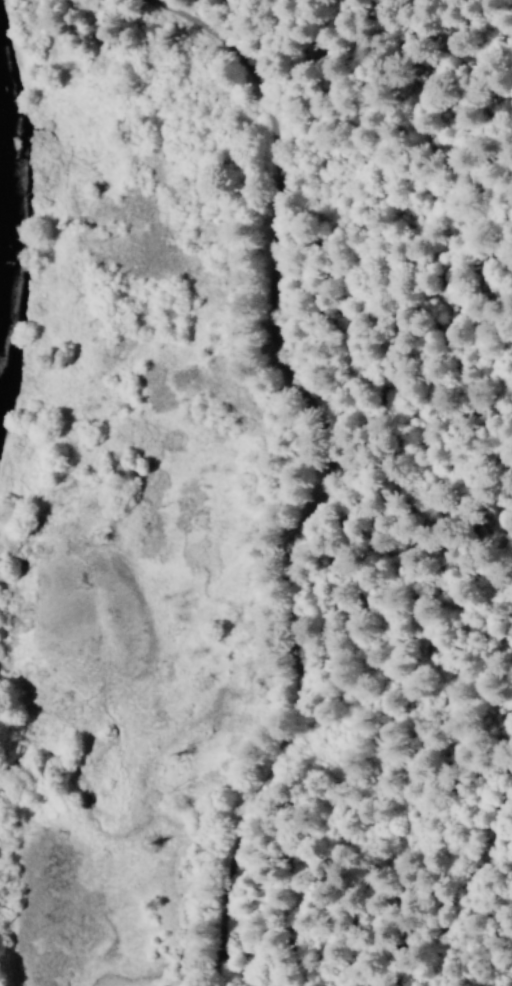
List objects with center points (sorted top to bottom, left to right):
road: (324, 461)
road: (456, 913)
road: (223, 949)

